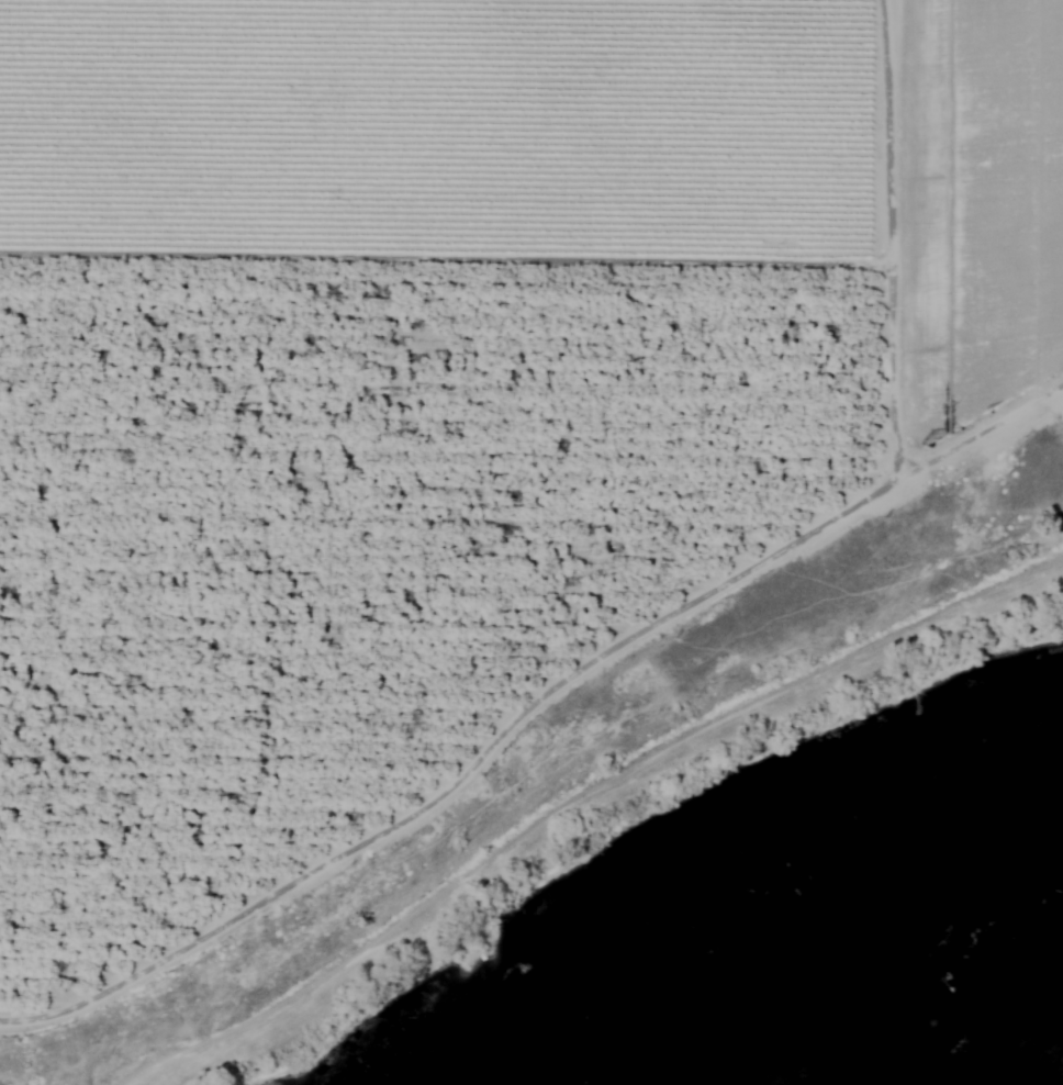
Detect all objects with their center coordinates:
crop: (440, 377)
road: (578, 796)

